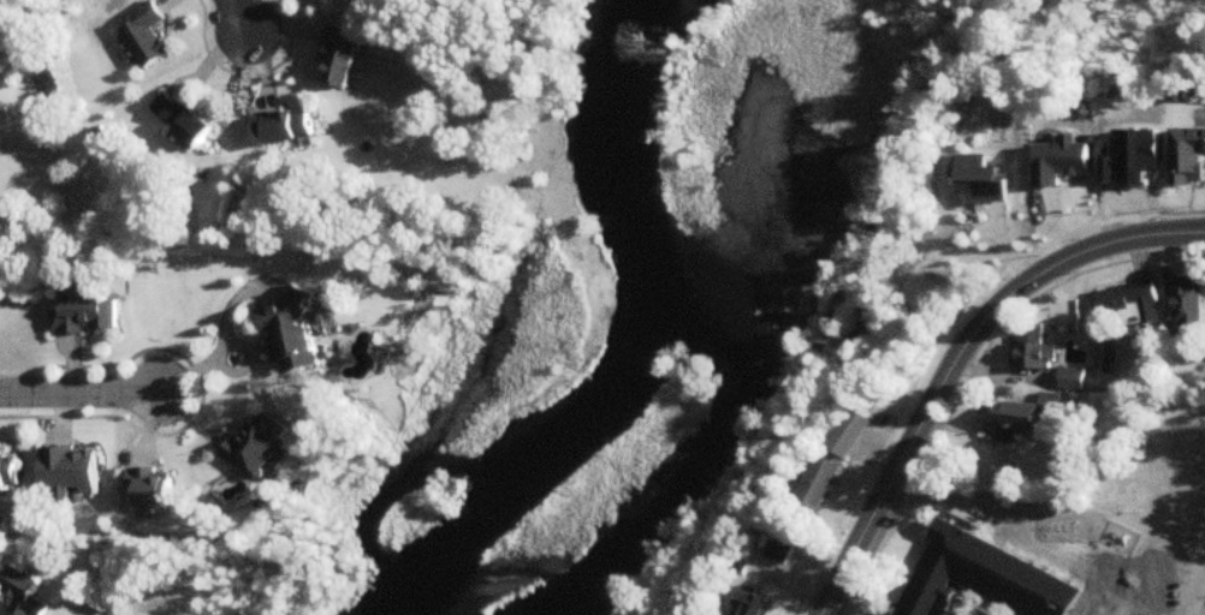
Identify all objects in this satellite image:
road: (239, 17)
building: (146, 36)
building: (343, 60)
building: (186, 123)
building: (287, 127)
building: (983, 181)
building: (360, 213)
road: (1076, 255)
building: (1187, 304)
building: (1130, 306)
road: (594, 310)
building: (85, 311)
road: (832, 317)
building: (295, 334)
river: (707, 335)
building: (1033, 358)
road: (970, 366)
road: (81, 389)
building: (1028, 418)
building: (853, 435)
building: (260, 444)
park: (1146, 444)
road: (896, 472)
building: (8, 476)
building: (825, 484)
park: (1104, 544)
building: (981, 579)
building: (24, 593)
building: (758, 605)
road: (1085, 607)
parking lot: (1102, 608)
road: (800, 610)
road: (1111, 611)

